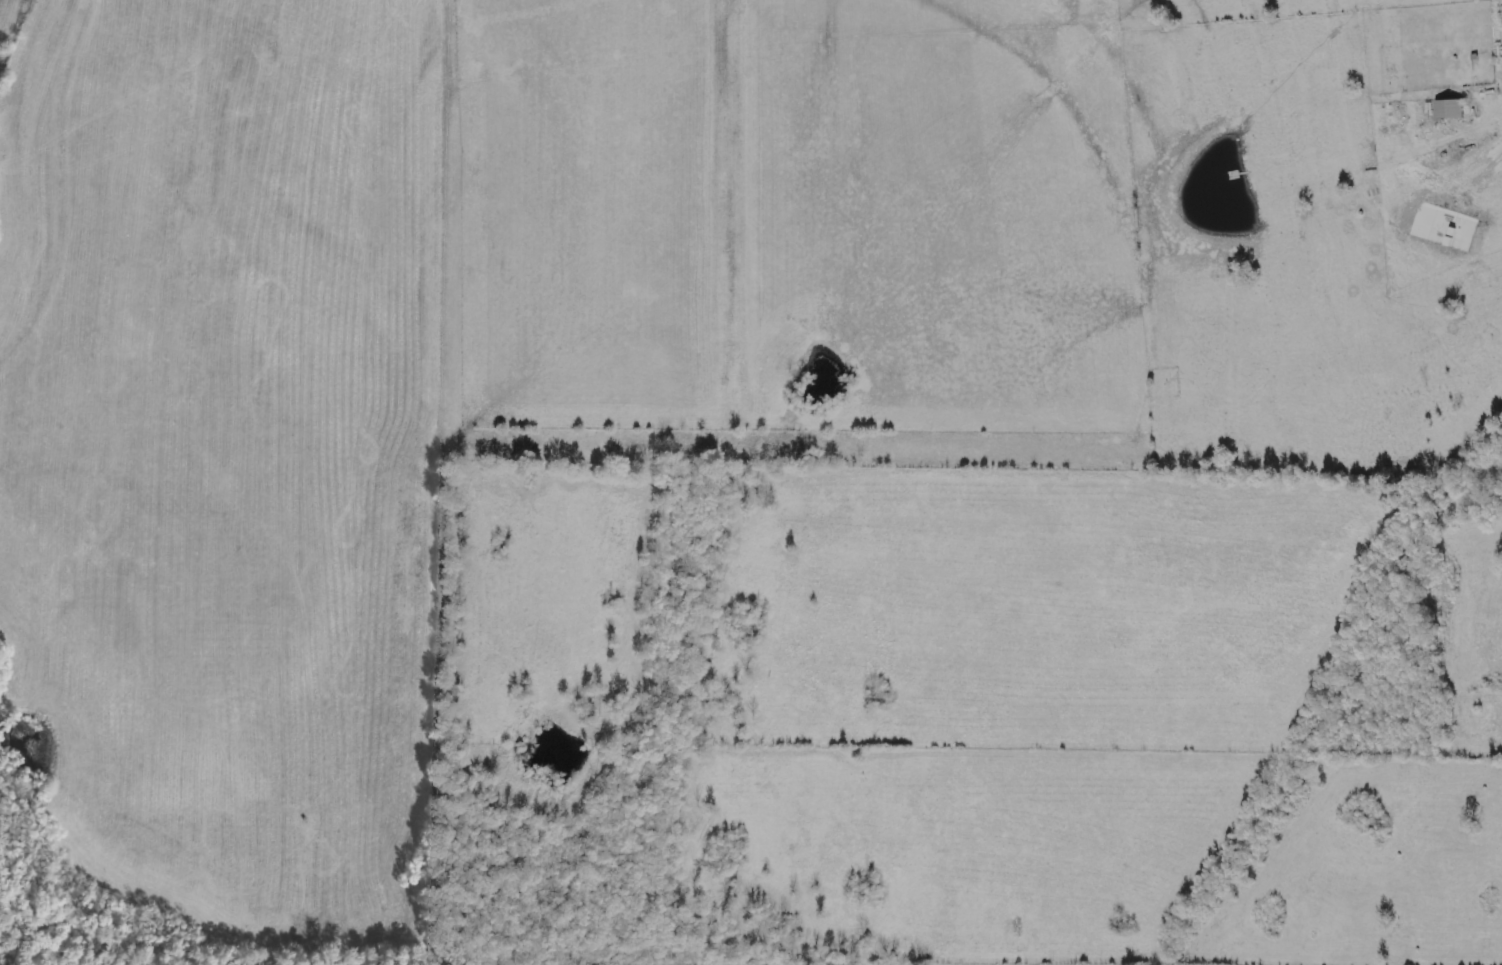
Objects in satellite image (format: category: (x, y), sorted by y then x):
building: (1449, 111)
road: (1482, 127)

